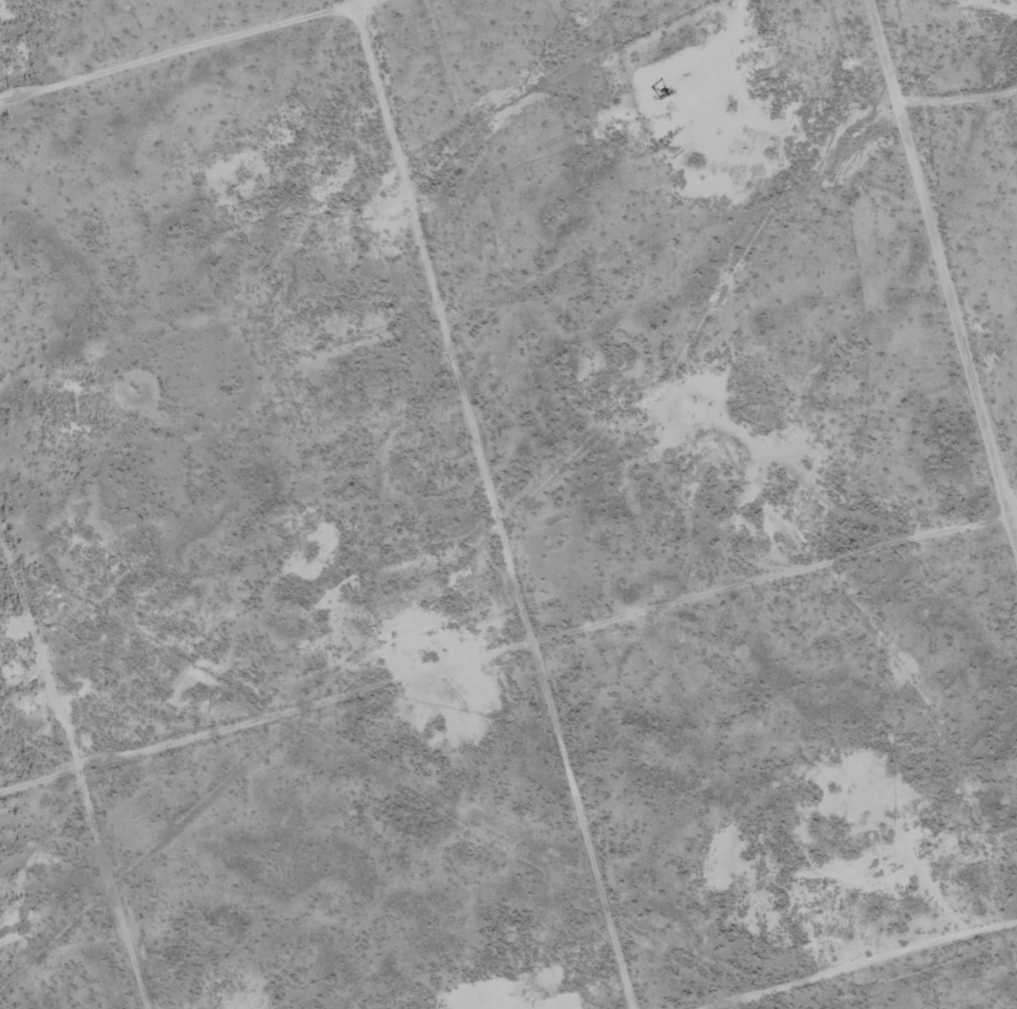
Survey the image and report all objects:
road: (949, 247)
road: (493, 504)
road: (855, 958)

